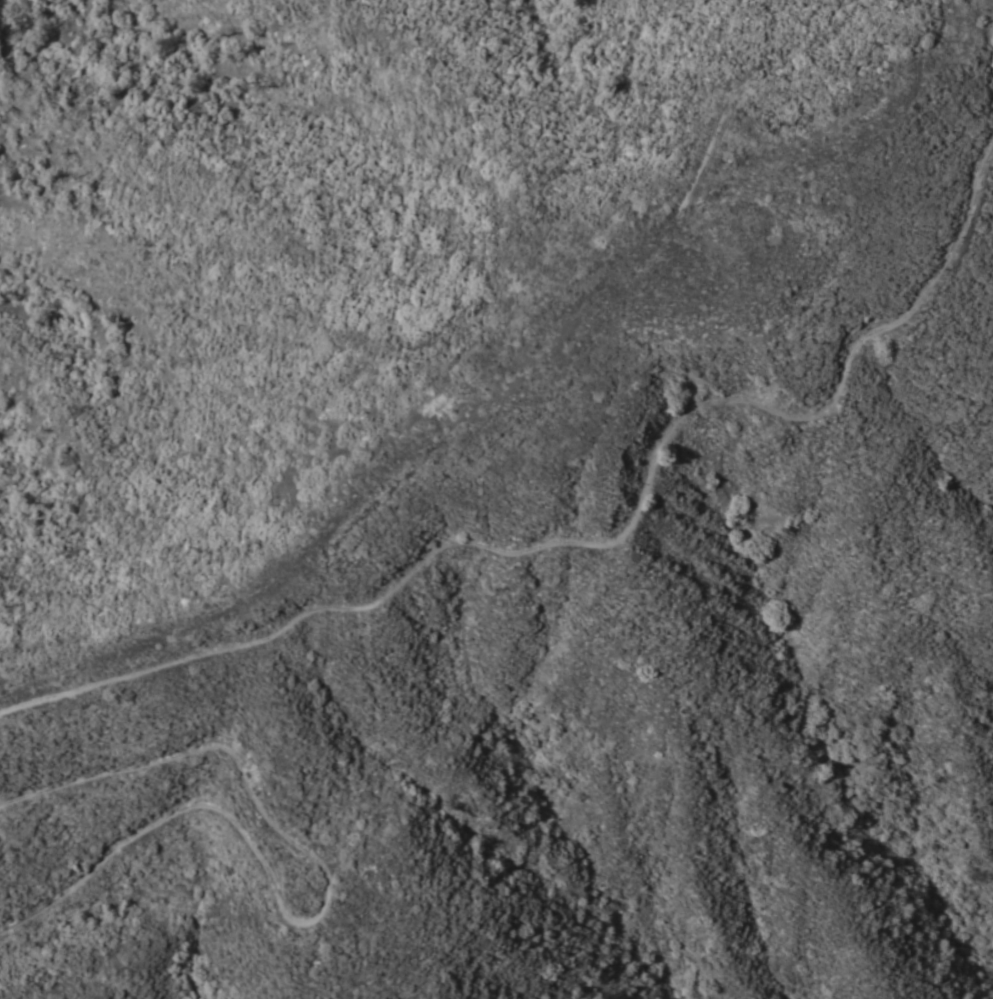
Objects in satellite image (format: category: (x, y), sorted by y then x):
road: (606, 551)
road: (333, 912)

